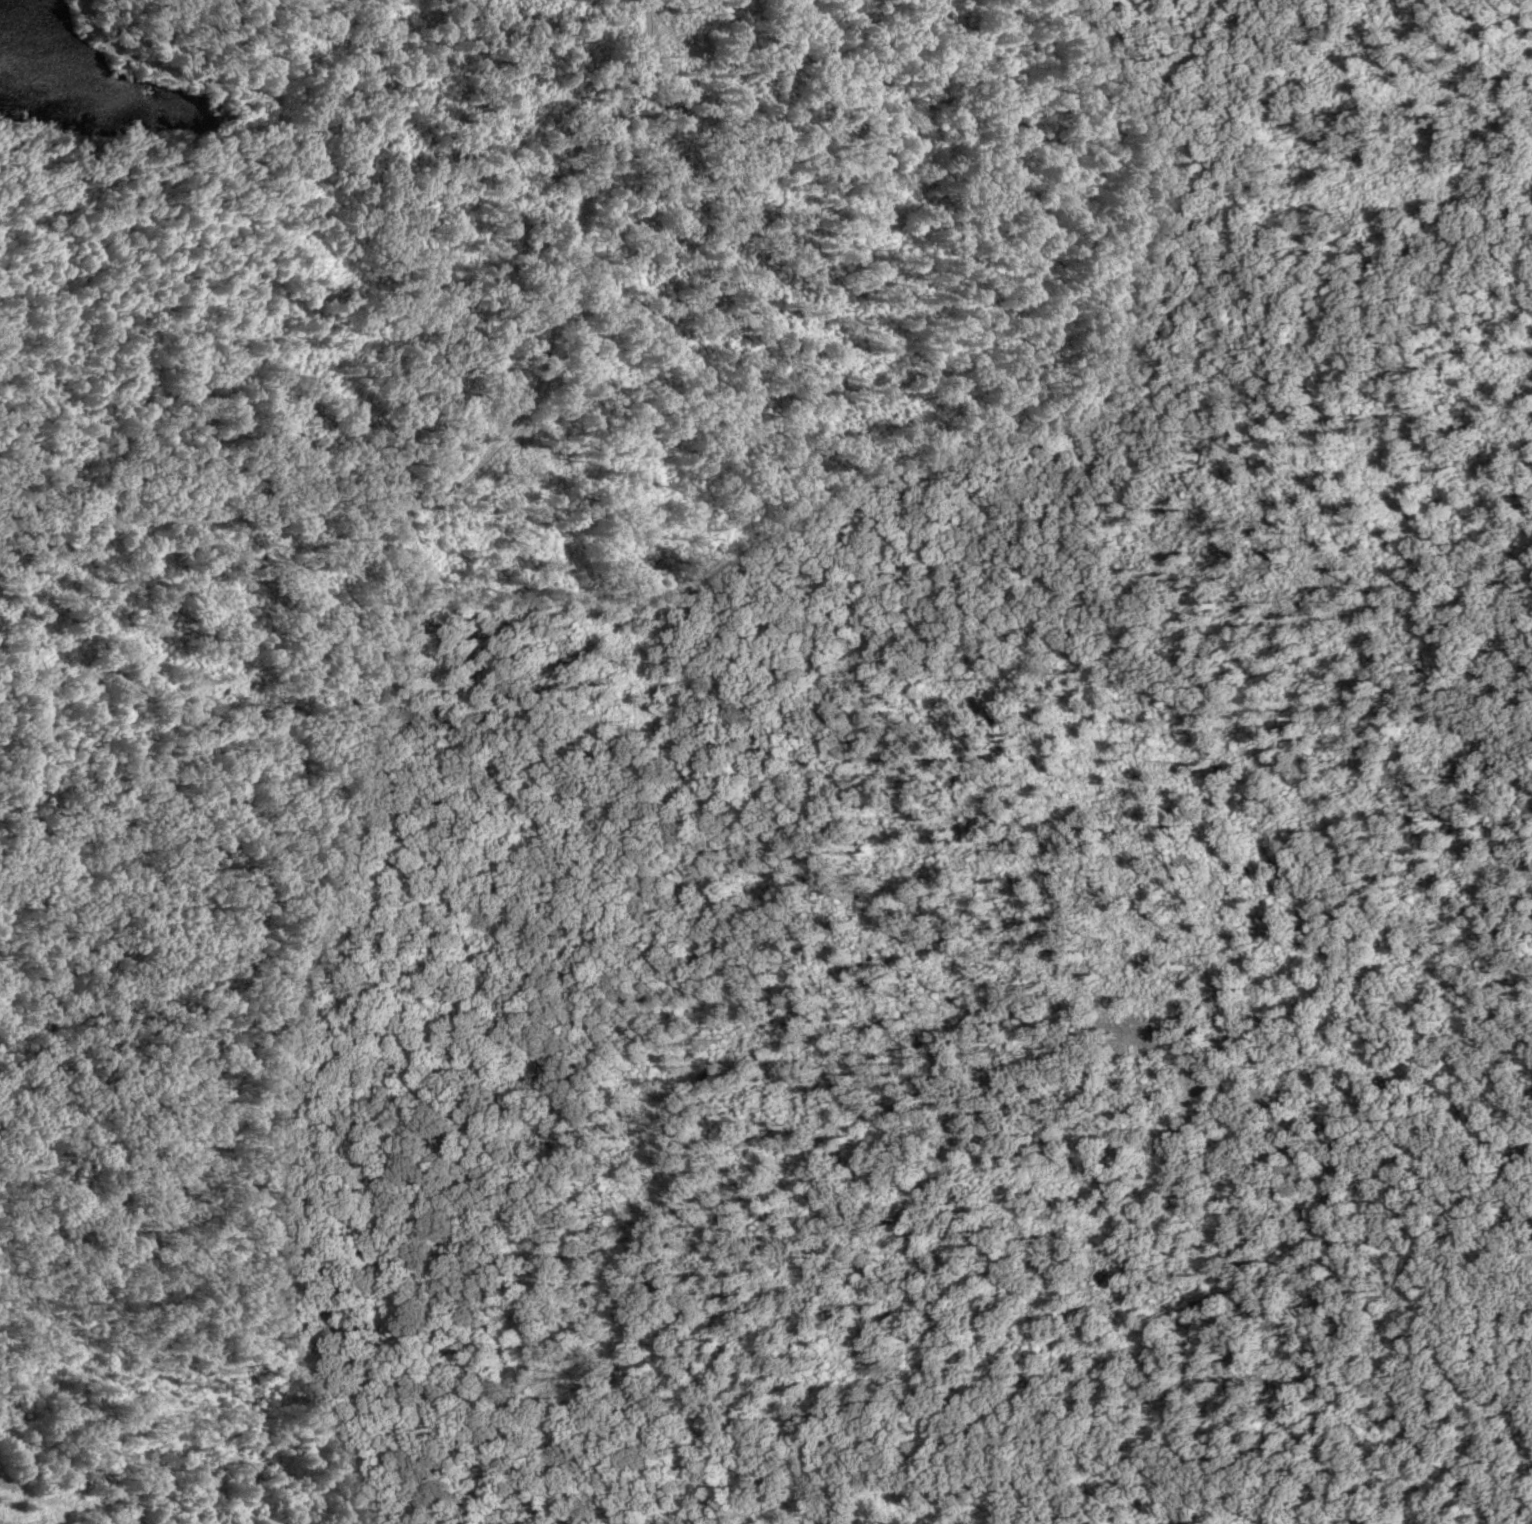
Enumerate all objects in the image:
road: (486, 466)

